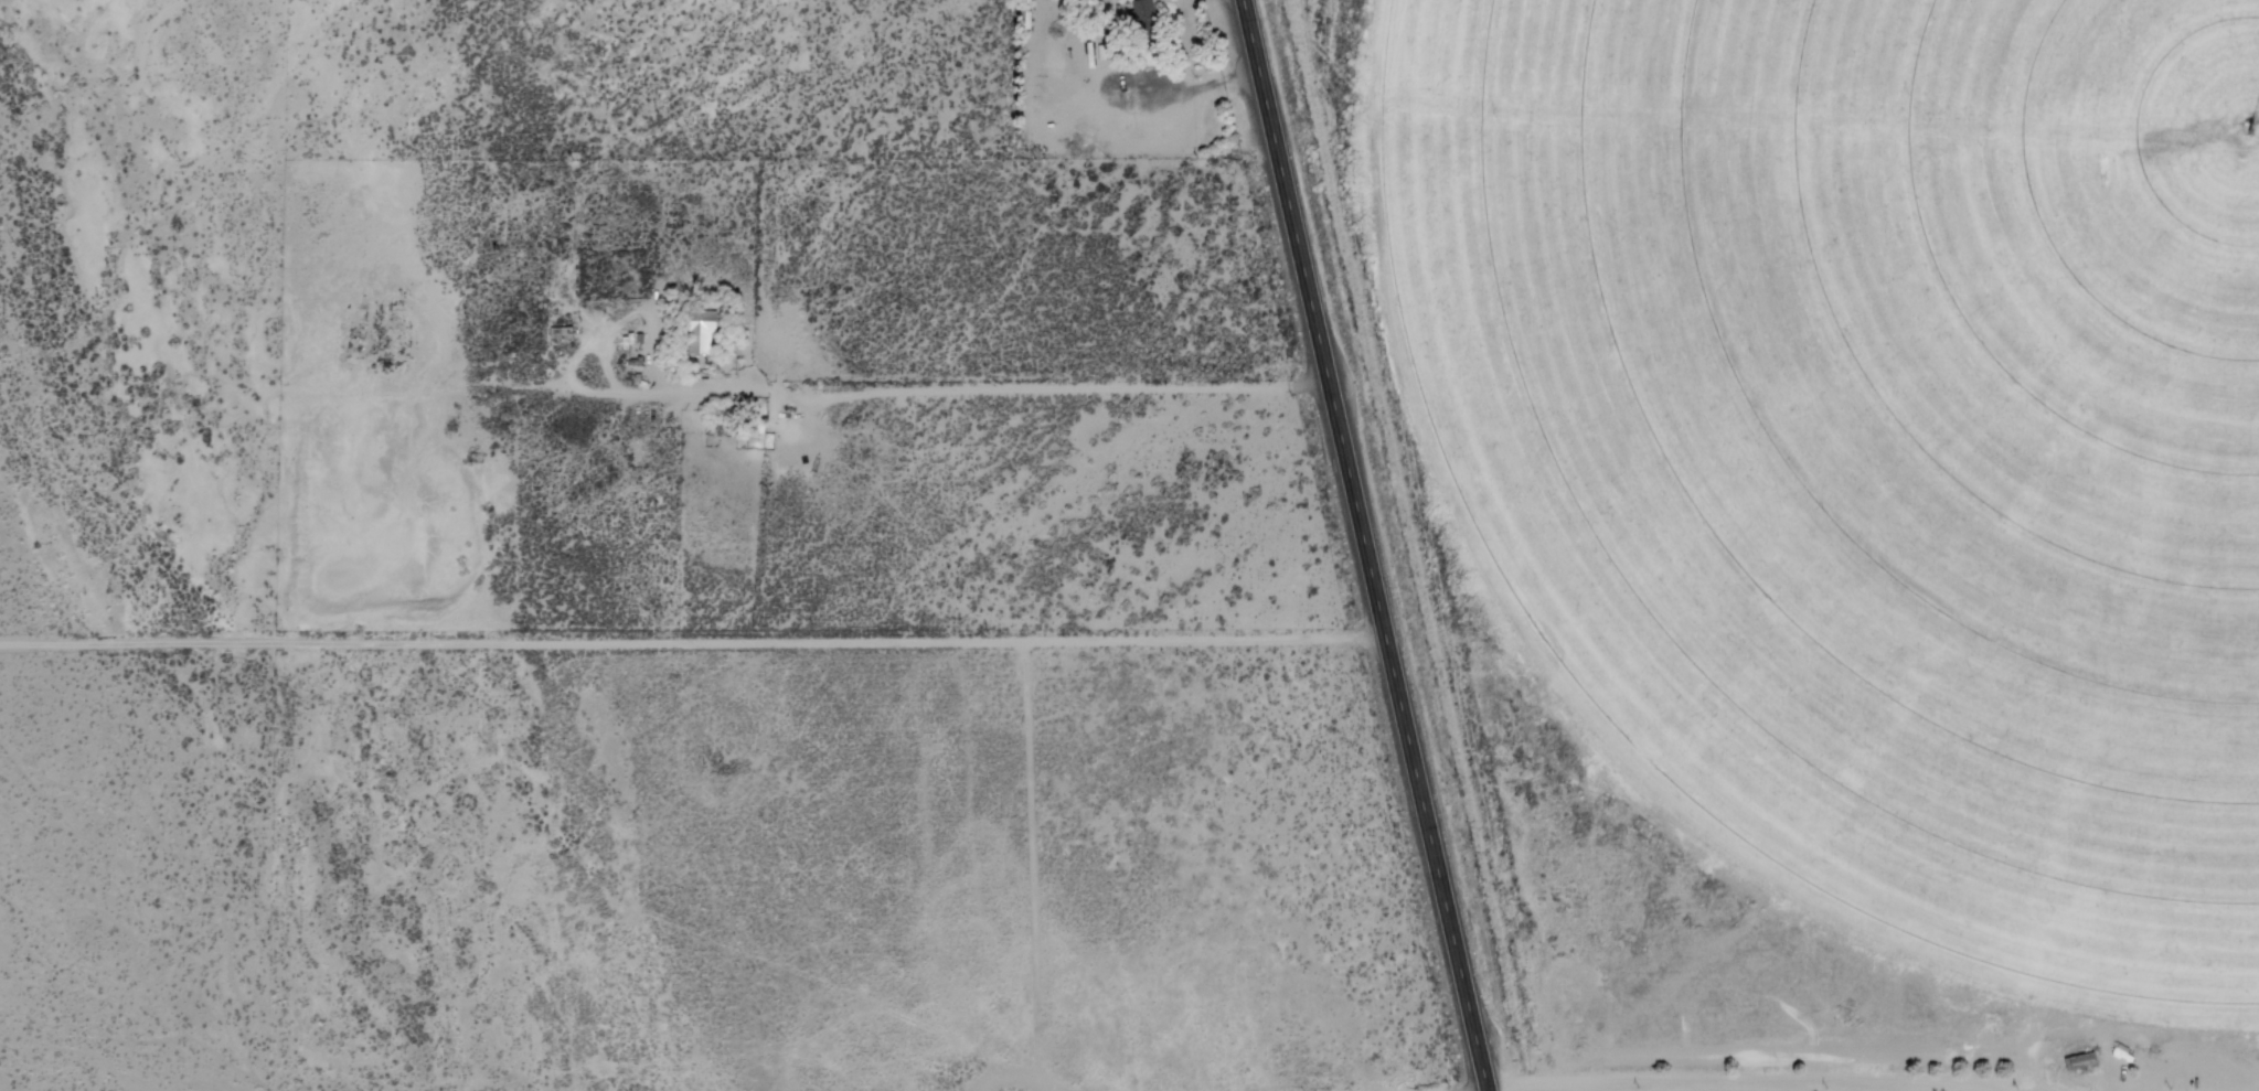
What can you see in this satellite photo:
building: (1150, 29)
building: (560, 333)
building: (703, 335)
road: (974, 396)
crop: (1863, 442)
road: (1367, 545)
road: (694, 650)
building: (2087, 1066)

